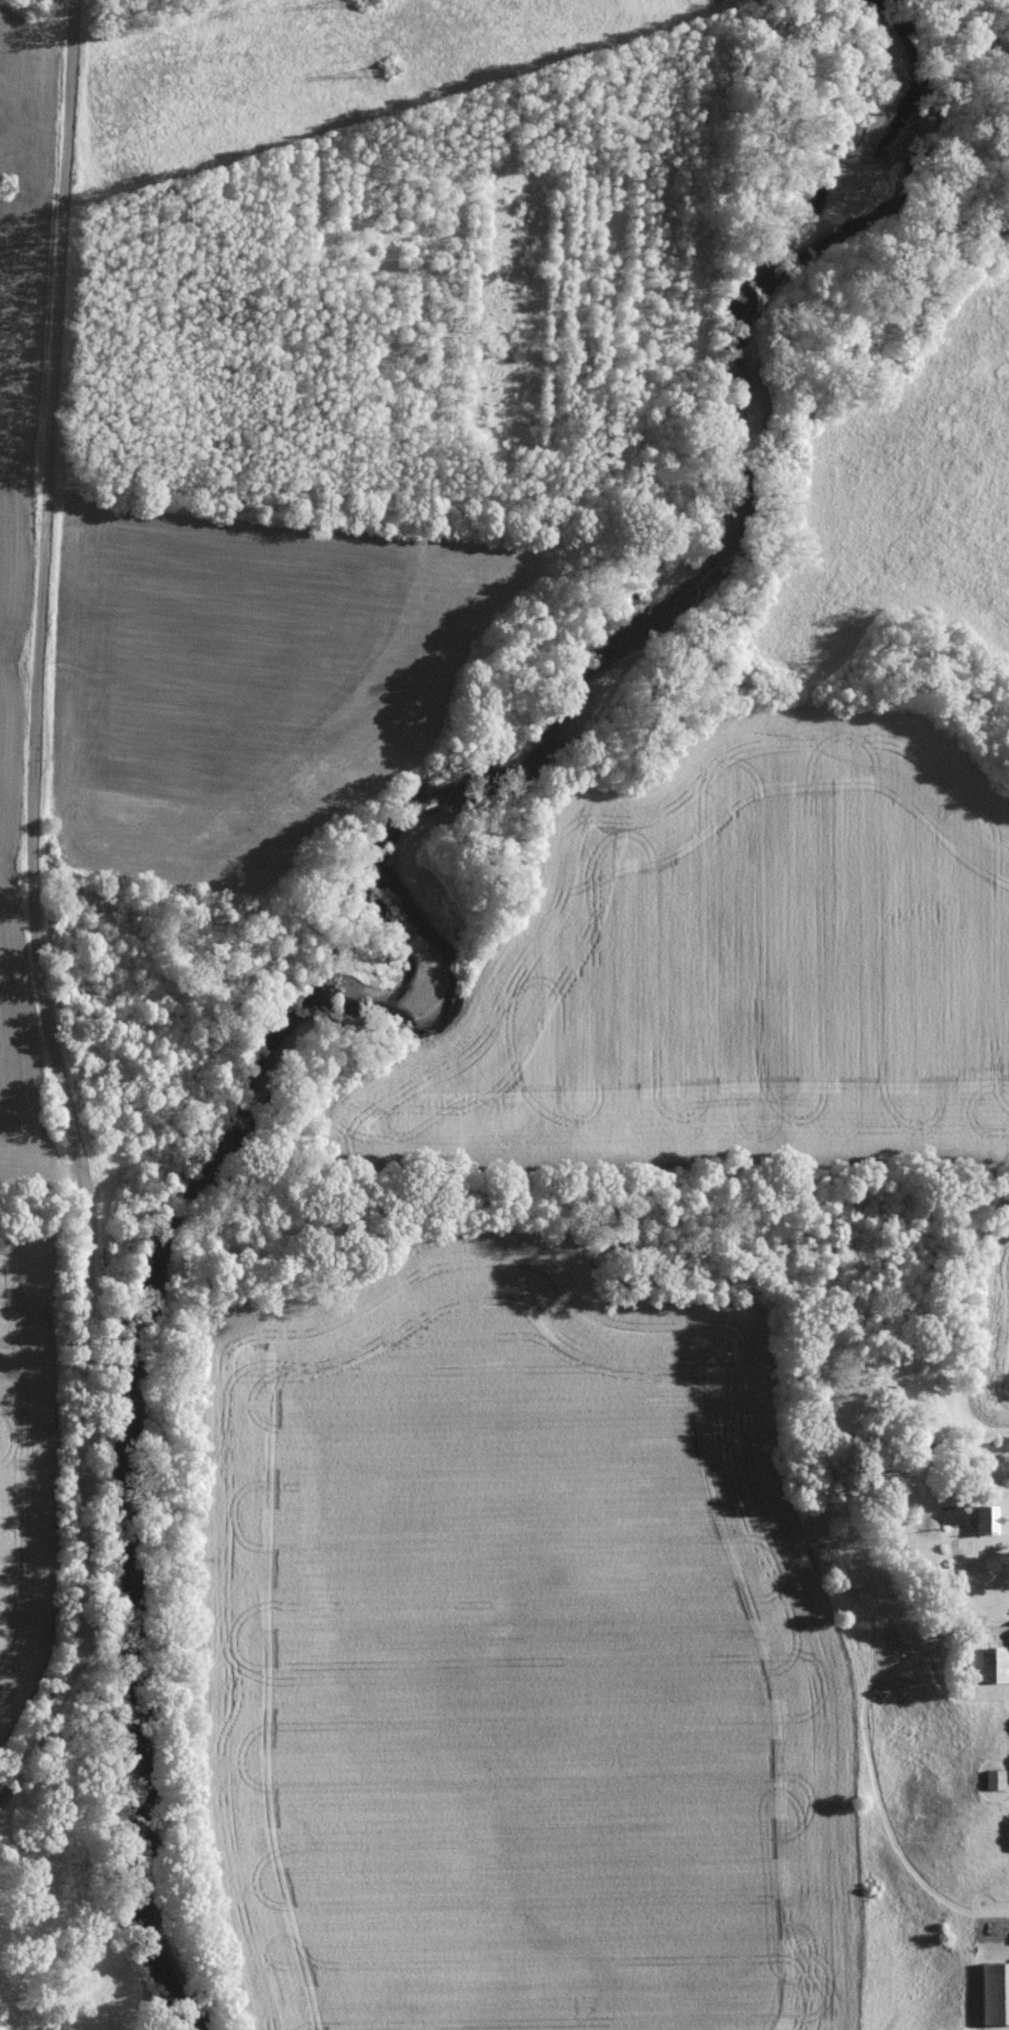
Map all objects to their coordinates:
power tower: (368, 1)
power tower: (394, 69)
power tower: (1, 189)
road: (33, 911)
river: (436, 960)
crop: (23, 1461)
building: (973, 1517)
building: (986, 1654)
building: (995, 1779)
building: (995, 1993)

